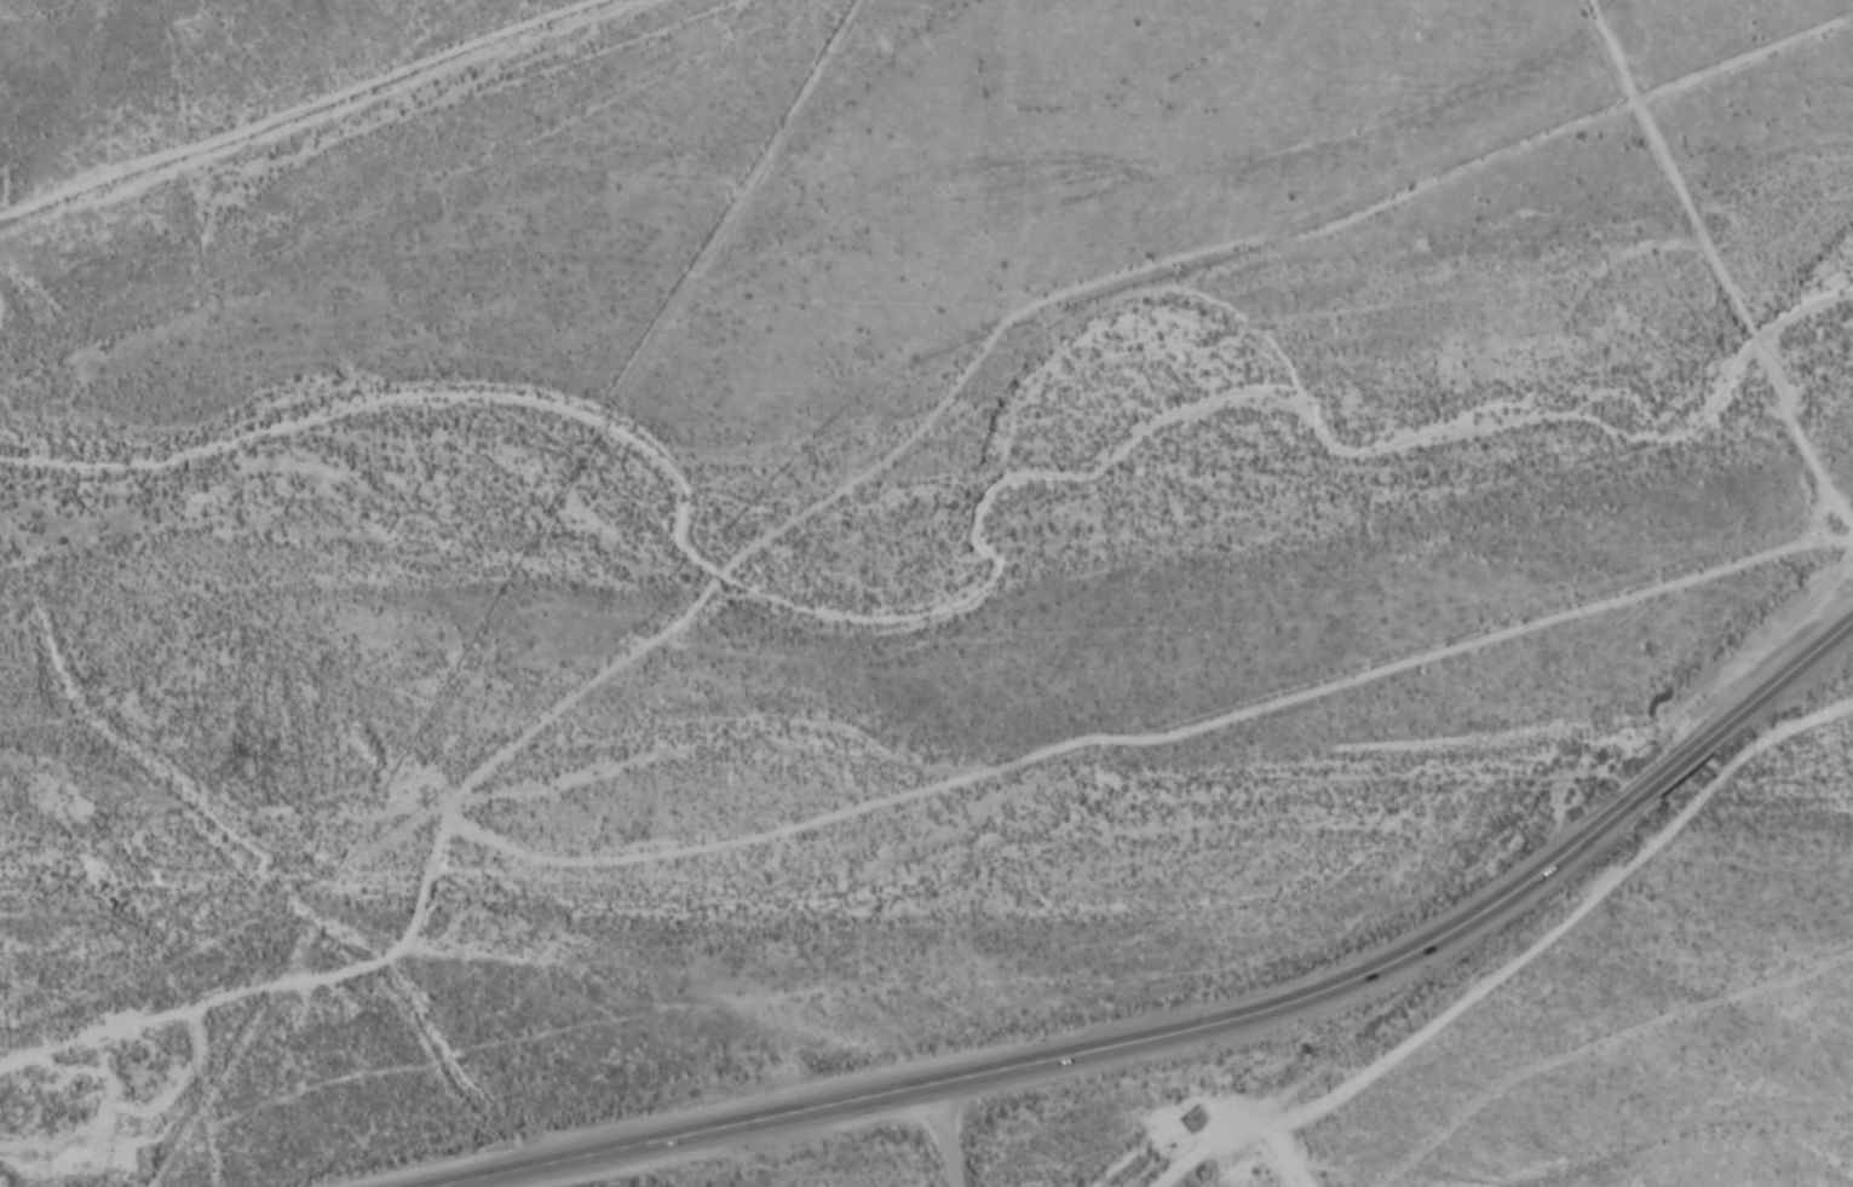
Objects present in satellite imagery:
road: (1192, 1030)
road: (940, 1134)

